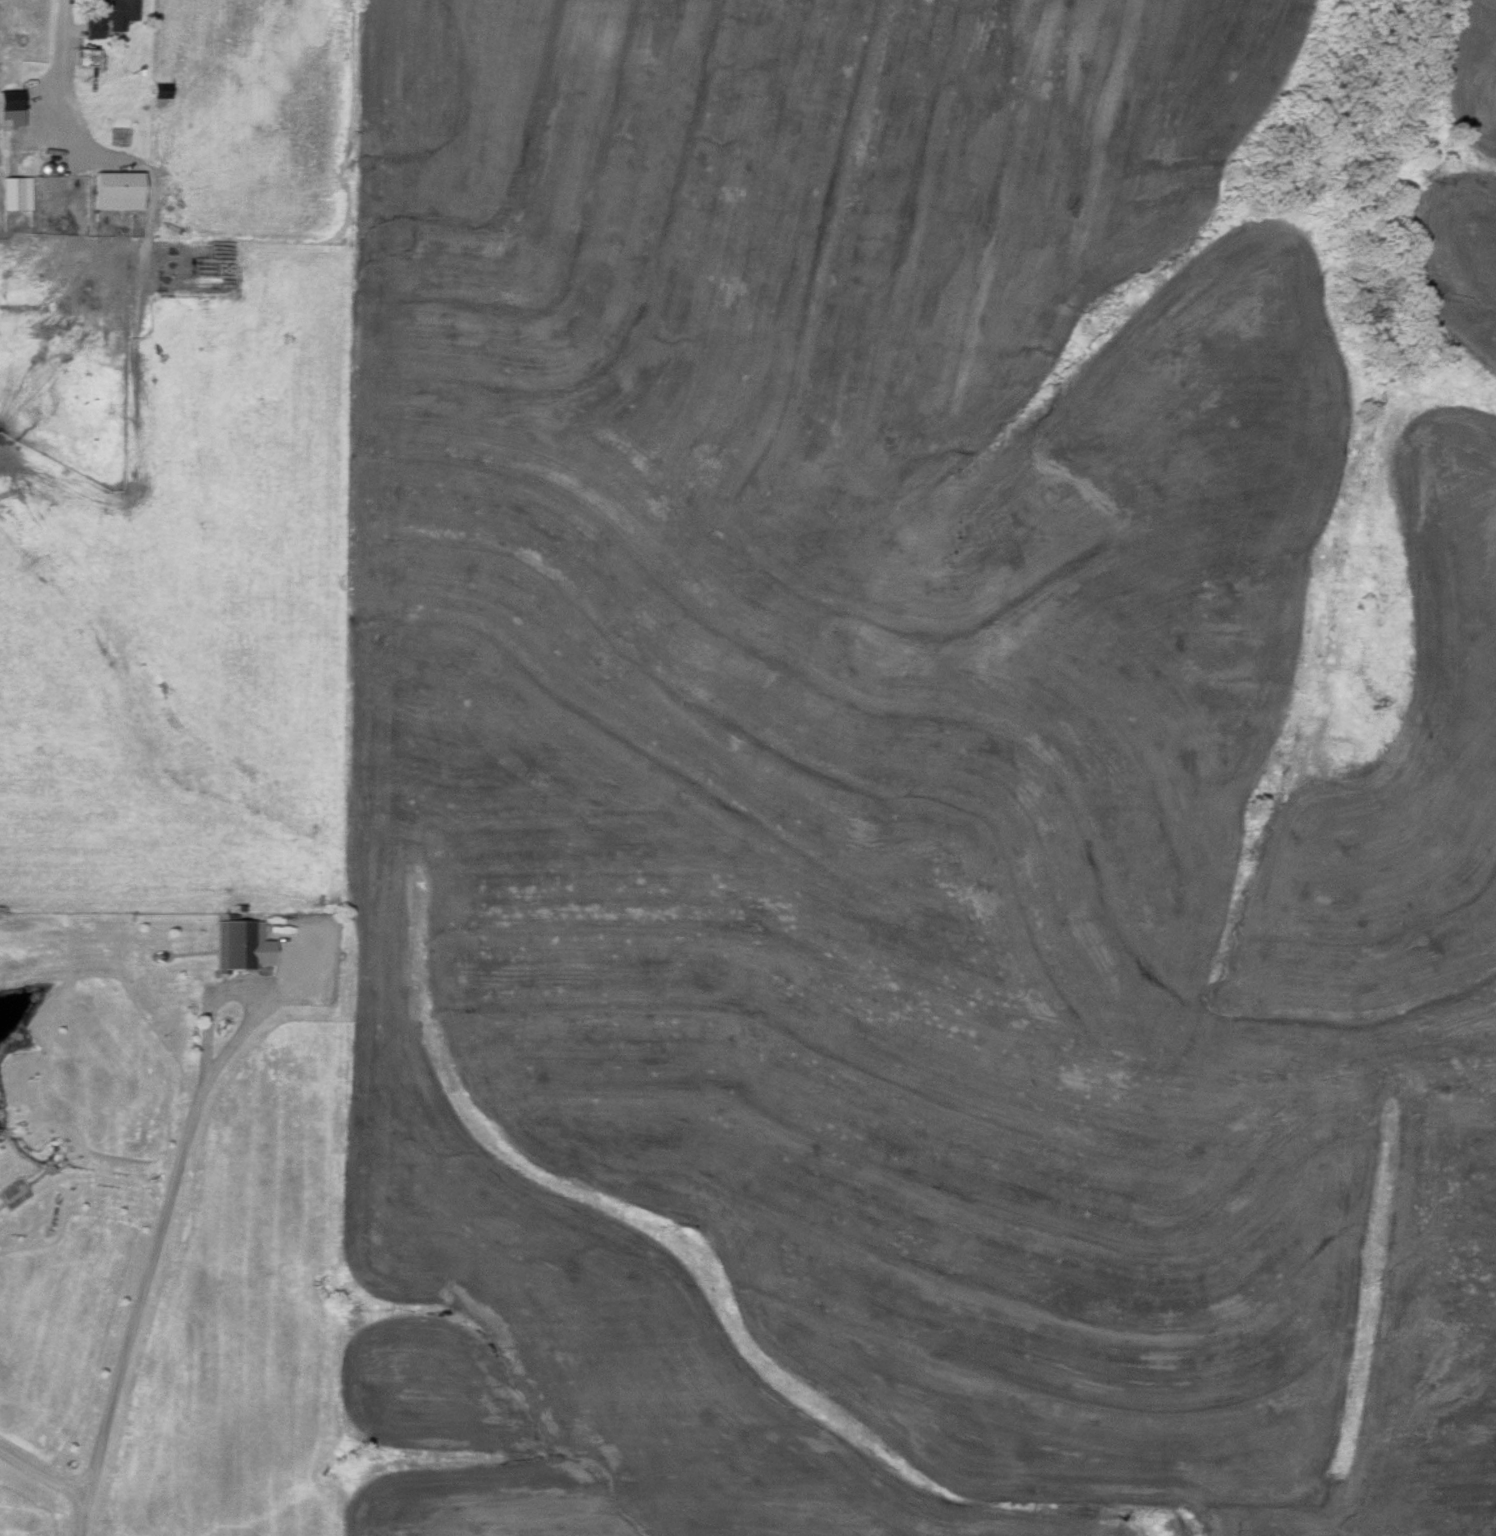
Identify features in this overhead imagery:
building: (113, 10)
building: (88, 58)
road: (58, 64)
building: (162, 92)
building: (11, 109)
building: (119, 192)
building: (17, 195)
building: (235, 947)
road: (237, 988)
road: (134, 1307)
road: (40, 1476)

